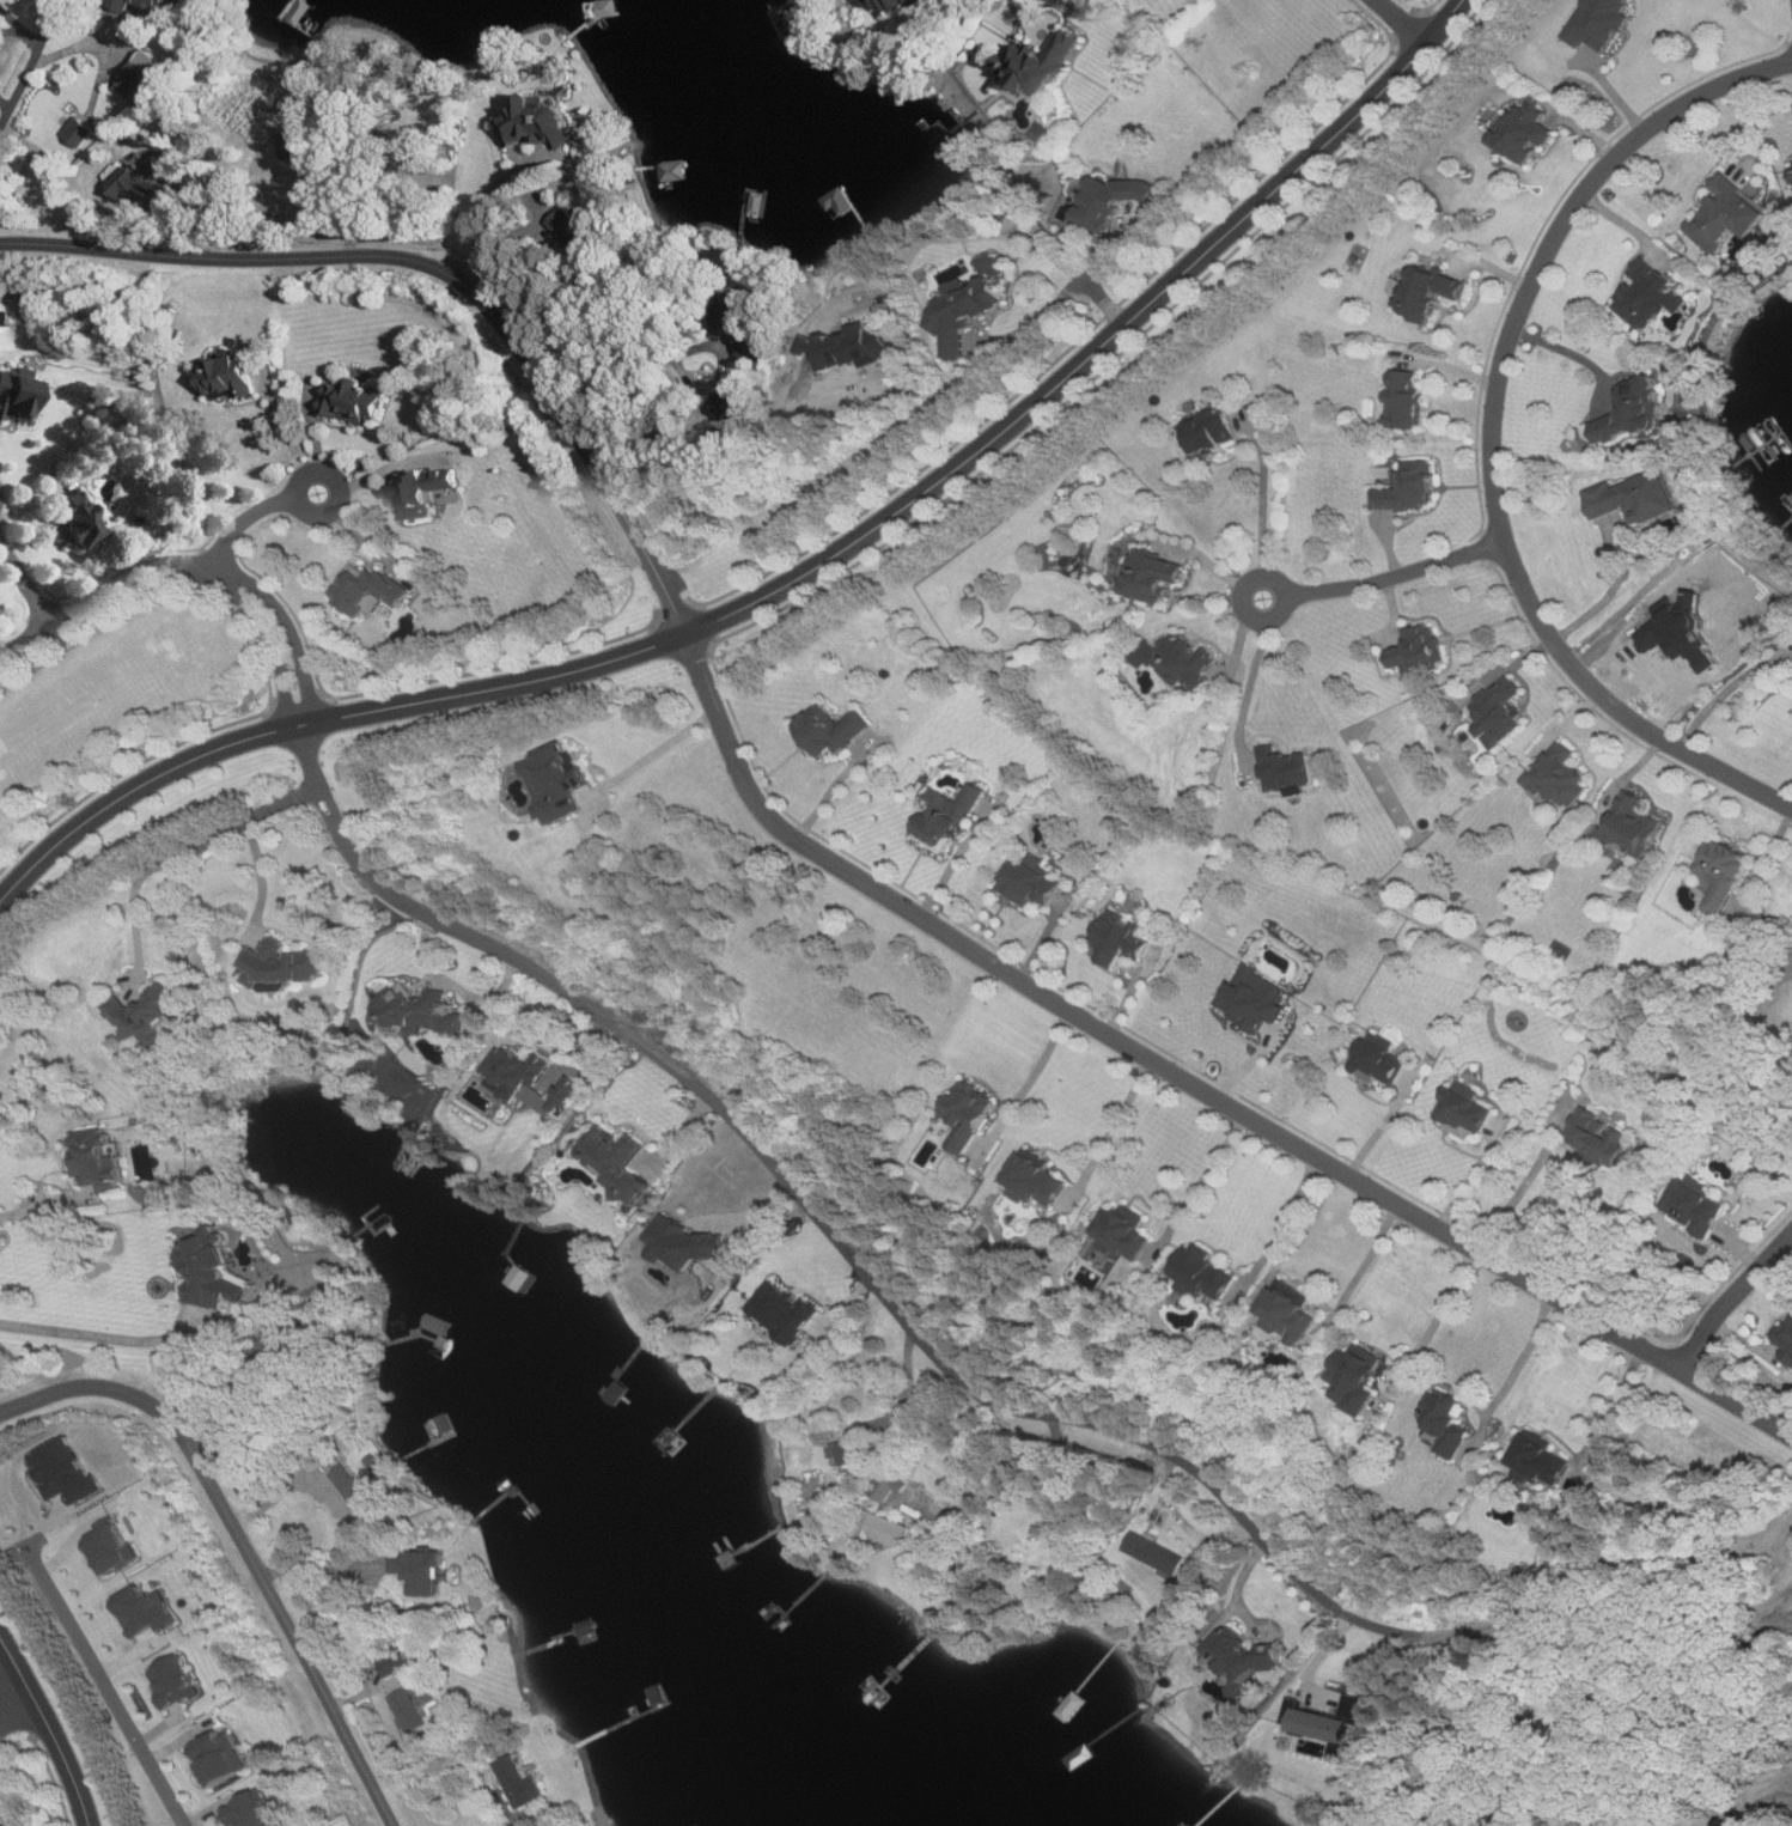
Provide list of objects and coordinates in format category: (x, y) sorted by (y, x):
building: (892, 2)
building: (141, 5)
road: (1023, 12)
road: (1406, 20)
building: (1598, 23)
building: (1042, 61)
building: (144, 75)
road: (24, 89)
building: (537, 121)
building: (78, 130)
building: (1526, 130)
building: (133, 188)
building: (1111, 199)
road: (486, 209)
building: (1730, 213)
road: (396, 249)
building: (1434, 291)
building: (1654, 293)
road: (1059, 298)
building: (971, 302)
building: (742, 318)
road: (1102, 347)
road: (1568, 352)
road: (630, 373)
building: (228, 376)
building: (16, 395)
building: (1410, 397)
building: (355, 400)
building: (1638, 410)
road: (286, 430)
building: (1214, 430)
road: (1493, 436)
building: (1412, 486)
building: (422, 489)
road: (1266, 497)
building: (1638, 497)
road: (250, 510)
building: (77, 519)
road: (191, 565)
building: (1154, 574)
road: (1400, 576)
road: (28, 580)
road: (671, 588)
building: (368, 589)
road: (1288, 595)
road: (1609, 596)
building: (1420, 649)
building: (1181, 658)
road: (1727, 690)
road: (1249, 692)
building: (1503, 710)
road: (323, 722)
building: (833, 729)
road: (654, 750)
building: (1285, 767)
building: (1561, 775)
building: (557, 781)
building: (947, 817)
road: (193, 850)
building: (1720, 876)
road: (263, 882)
building: (1031, 882)
building: (1122, 937)
road: (486, 941)
building: (284, 966)
road: (461, 987)
building: (1256, 998)
building: (421, 1010)
building: (146, 1014)
building: (1383, 1060)
road: (1038, 1065)
building: (531, 1081)
road: (1190, 1081)
building: (1467, 1109)
building: (969, 1113)
road: (1117, 1120)
road: (1383, 1126)
building: (1596, 1138)
building: (99, 1157)
building: (620, 1162)
road: (1209, 1174)
road: (1470, 1177)
building: (1037, 1181)
road: (1523, 1189)
road: (44, 1207)
building: (1693, 1210)
road: (1284, 1223)
building: (1126, 1231)
building: (654, 1234)
building: (696, 1240)
road: (1366, 1264)
building: (1206, 1272)
building: (212, 1273)
road: (1733, 1297)
road: (1445, 1305)
building: (785, 1311)
building: (1290, 1316)
road: (105, 1335)
building: (1786, 1341)
road: (1523, 1357)
building: (1355, 1380)
road: (1611, 1406)
building: (1447, 1428)
building: (849, 1451)
building: (1534, 1463)
road: (977, 1475)
building: (348, 1484)
building: (890, 1485)
road: (1217, 1489)
building: (884, 1529)
road: (252, 1532)
building: (1050, 1535)
building: (111, 1547)
building: (1156, 1552)
building: (146, 1608)
building: (1248, 1651)
building: (397, 1661)
road: (11, 1679)
building: (176, 1680)
road: (106, 1686)
building: (409, 1709)
road: (22, 1721)
building: (1329, 1721)
road: (51, 1725)
building: (221, 1755)
building: (1434, 1758)
building: (518, 1781)
building: (255, 1810)
building: (5, 1824)

